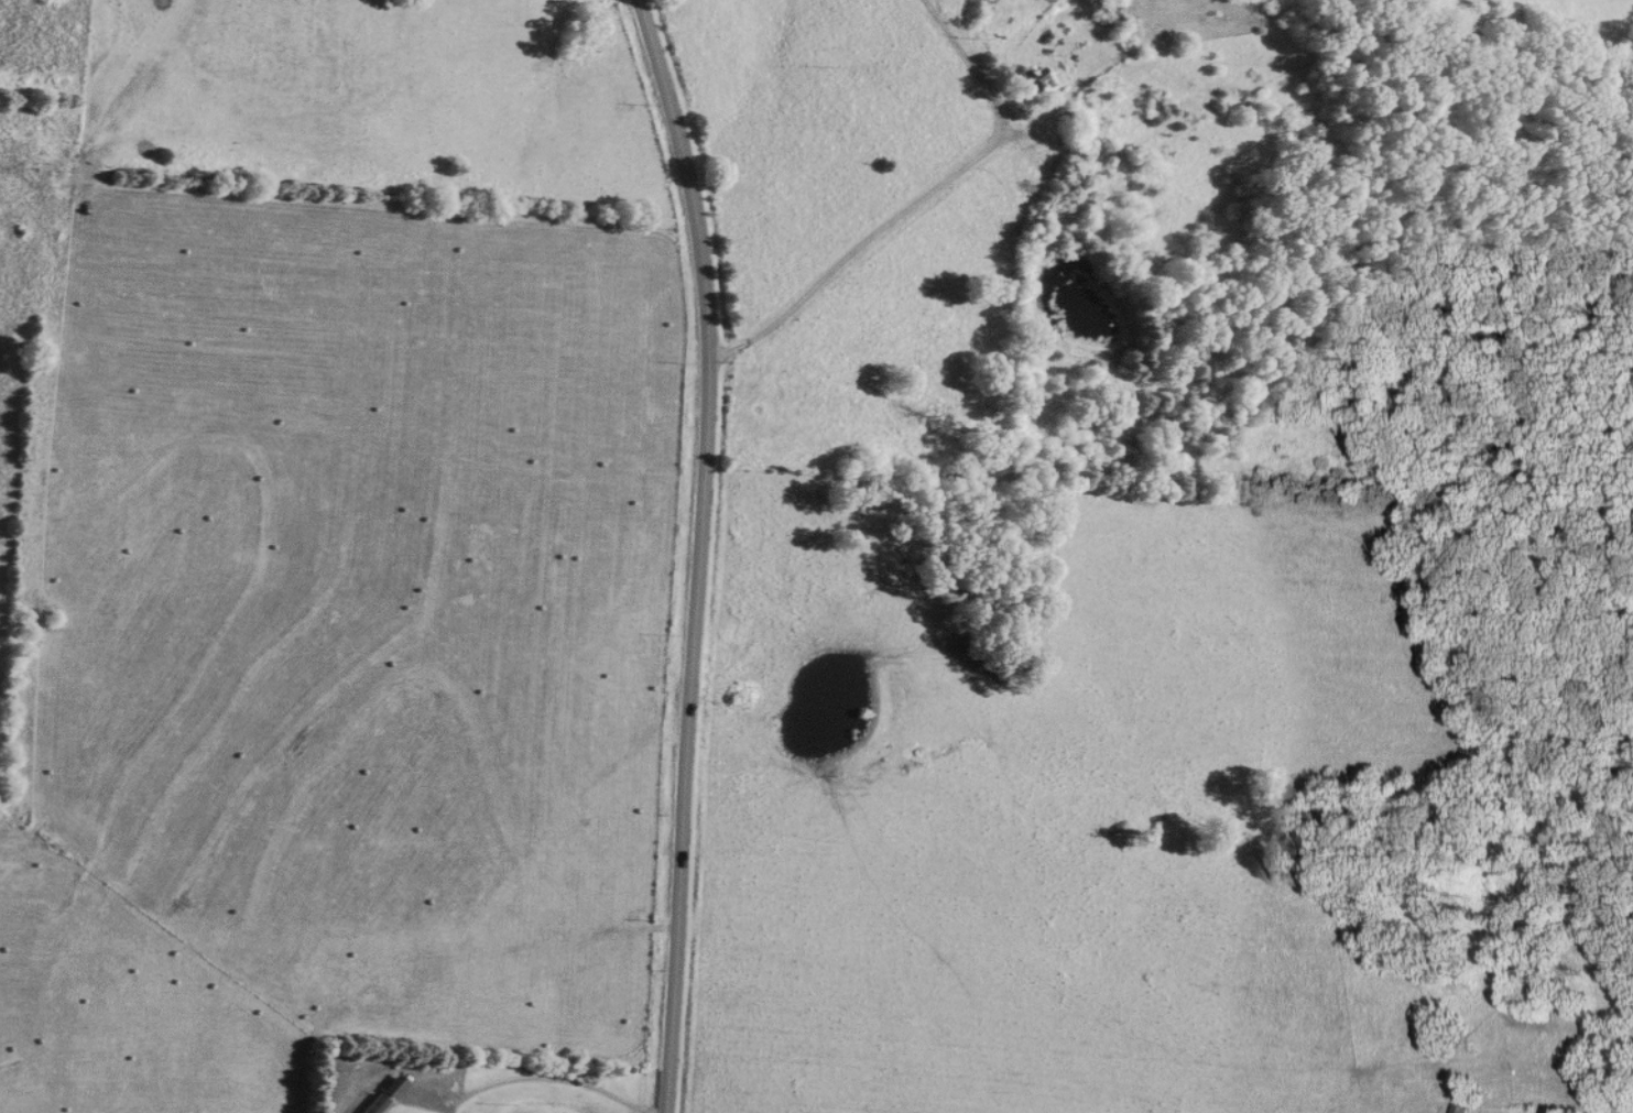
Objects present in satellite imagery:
building: (1111, 17)
building: (1037, 80)
road: (864, 247)
road: (704, 553)
building: (377, 1105)
building: (1458, 1110)

